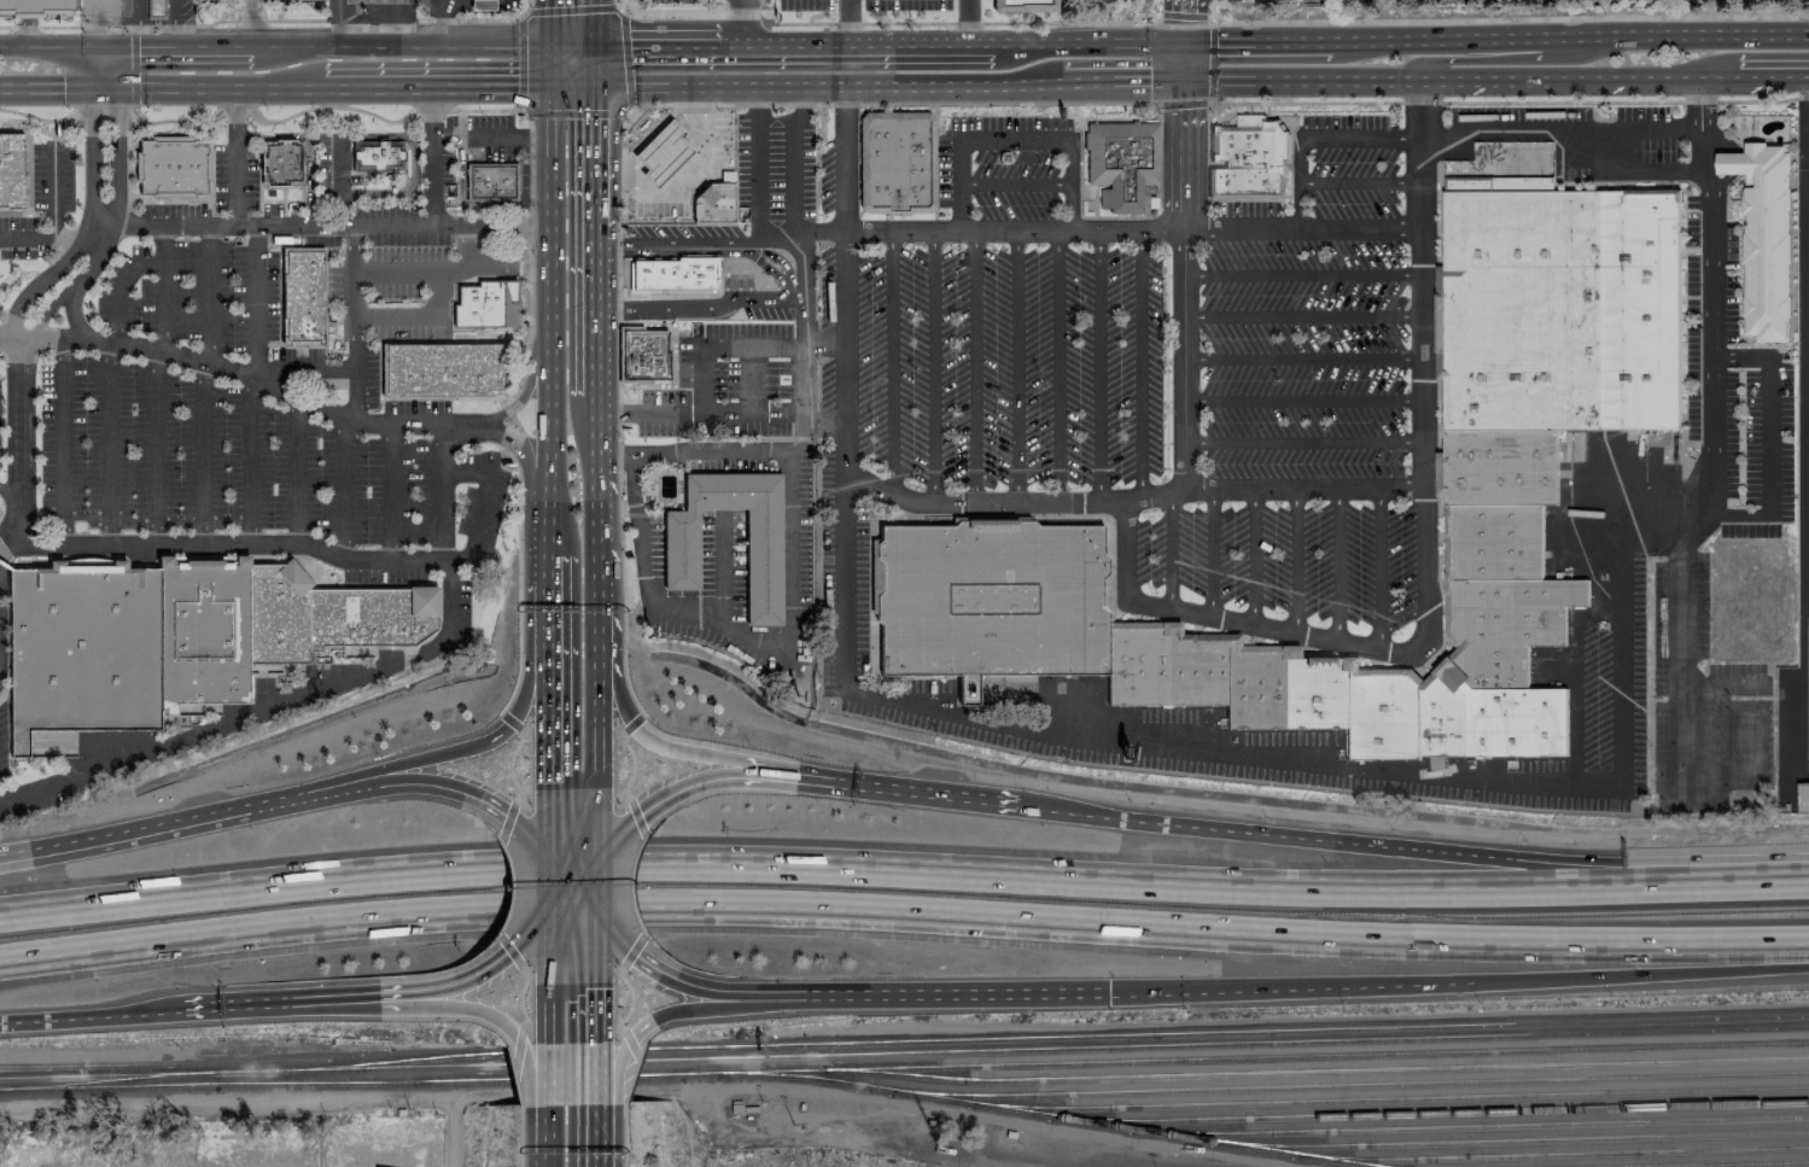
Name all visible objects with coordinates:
building: (36, 4)
parking lot: (804, 4)
parking lot: (906, 4)
building: (482, 5)
building: (1022, 5)
building: (154, 6)
road: (332, 7)
road: (27, 10)
road: (360, 14)
road: (622, 16)
road: (1183, 16)
road: (1501, 18)
road: (479, 19)
road: (1184, 22)
road: (139, 23)
road: (173, 23)
road: (244, 23)
road: (447, 23)
road: (552, 23)
road: (847, 23)
road: (877, 23)
road: (967, 23)
road: (589, 24)
road: (742, 24)
road: (1172, 24)
road: (1197, 24)
road: (162, 27)
road: (398, 31)
road: (28, 33)
road: (1639, 35)
road: (1400, 39)
road: (1256, 41)
road: (1089, 43)
road: (53, 46)
road: (869, 46)
road: (180, 47)
road: (402, 47)
traffic signals: (552, 47)
road: (571, 48)
road: (667, 48)
traffic signals: (591, 49)
road: (1476, 58)
road: (552, 64)
road: (1212, 64)
road: (593, 65)
road: (133, 70)
road: (1773, 75)
road: (1677, 76)
road: (1546, 77)
road: (1327, 80)
road: (1109, 81)
road: (430, 82)
traffic signals: (552, 82)
road: (572, 82)
traffic signals: (594, 82)
road: (718, 83)
road: (941, 83)
road: (153, 87)
road: (1318, 101)
road: (1733, 101)
road: (894, 103)
road: (993, 103)
road: (746, 104)
road: (331, 105)
road: (1181, 105)
road: (233, 110)
road: (428, 110)
road: (484, 110)
road: (103, 113)
road: (36, 117)
road: (1150, 118)
road: (174, 119)
road: (1559, 128)
building: (669, 129)
parking lot: (1595, 132)
road: (116, 136)
road: (1011, 139)
road: (89, 140)
road: (475, 141)
road: (536, 141)
road: (305, 144)
road: (431, 152)
building: (379, 154)
road: (530, 154)
road: (595, 154)
road: (233, 156)
building: (1248, 156)
road: (755, 158)
road: (794, 158)
road: (412, 162)
building: (895, 162)
building: (1121, 162)
road: (1297, 162)
building: (281, 163)
building: (173, 165)
building: (652, 165)
parking lot: (776, 165)
parking lot: (1000, 167)
building: (12, 171)
road: (676, 173)
road: (340, 177)
road: (1013, 180)
building: (491, 183)
road: (1402, 187)
road: (52, 192)
road: (1080, 199)
building: (713, 203)
road: (471, 205)
road: (1804, 208)
road: (1437, 211)
road: (526, 218)
road: (323, 222)
road: (1162, 227)
parking lot: (684, 228)
road: (1105, 228)
road: (776, 232)
road: (75, 234)
road: (27, 235)
building: (1763, 238)
road: (676, 240)
road: (734, 251)
road: (795, 262)
road: (428, 266)
road: (1181, 266)
building: (675, 268)
road: (1301, 272)
road: (496, 276)
road: (39, 282)
road: (124, 286)
road: (69, 288)
parking lot: (196, 291)
road: (208, 292)
building: (300, 294)
road: (1410, 296)
road: (1706, 296)
road: (632, 297)
building: (485, 305)
building: (1557, 307)
road: (698, 309)
road: (596, 311)
road: (72, 314)
road: (550, 316)
road: (1300, 316)
parking lot: (1302, 317)
road: (350, 320)
road: (530, 323)
road: (800, 337)
road: (717, 344)
road: (1404, 350)
building: (644, 355)
road: (1301, 358)
road: (1166, 360)
road: (893, 362)
road: (1138, 362)
road: (1055, 363)
road: (1102, 363)
road: (932, 364)
road: (974, 364)
road: (1015, 364)
building: (442, 368)
road: (379, 369)
road: (244, 372)
road: (753, 377)
road: (251, 381)
road: (157, 383)
parking lot: (725, 383)
road: (525, 385)
parking lot: (1734, 386)
parking lot: (974, 390)
road: (372, 397)
road: (442, 397)
road: (1419, 401)
road: (1301, 402)
road: (507, 408)
road: (617, 413)
road: (735, 413)
road: (822, 416)
road: (515, 422)
road: (799, 436)
road: (1768, 437)
road: (59, 440)
road: (103, 440)
road: (513, 440)
road: (517, 442)
road: (1301, 443)
road: (503, 450)
road: (846, 450)
road: (205, 451)
parking lot: (220, 456)
building: (1499, 467)
road: (294, 469)
road: (340, 483)
road: (8, 489)
road: (389, 490)
road: (440, 491)
road: (480, 501)
road: (632, 514)
road: (654, 514)
road: (596, 519)
building: (1496, 541)
road: (10, 548)
road: (1167, 549)
building: (763, 550)
road: (1208, 552)
road: (226, 554)
road: (6, 555)
road: (1250, 555)
road: (361, 556)
road: (1292, 559)
parking lot: (1284, 560)
road: (1340, 562)
road: (714, 566)
road: (1375, 566)
road: (549, 568)
road: (518, 584)
road: (788, 600)
building: (988, 600)
road: (548, 602)
building: (276, 614)
building: (370, 615)
building: (1507, 624)
road: (1300, 630)
building: (202, 634)
road: (1686, 647)
building: (81, 650)
building: (1162, 667)
road: (1725, 685)
parking lot: (1610, 687)
building: (1253, 688)
building: (1311, 690)
road: (548, 705)
parking lot: (1703, 705)
road: (596, 714)
building: (1378, 714)
building: (1509, 717)
building: (1440, 719)
road: (509, 720)
road: (630, 723)
road: (480, 743)
road: (670, 748)
parking lot: (2, 749)
parking lot: (1244, 752)
road: (510, 762)
road: (1283, 762)
road: (632, 763)
road: (743, 777)
road: (410, 783)
road: (45, 786)
traffic signals: (548, 788)
road: (916, 790)
parking lot: (36, 798)
building: (1803, 798)
road: (634, 816)
road: (170, 818)
road: (509, 818)
traffic signals: (630, 825)
road: (523, 834)
road: (548, 836)
road: (504, 850)
road: (636, 850)
road: (1418, 851)
road: (903, 869)
road: (510, 870)
road: (603, 873)
road: (630, 876)
road: (596, 883)
road: (600, 892)
road: (542, 897)
road: (632, 905)
road: (509, 908)
road: (903, 915)
road: (640, 927)
road: (573, 933)
road: (549, 934)
traffic signals: (514, 945)
road: (509, 951)
road: (630, 951)
road: (1459, 981)
traffic signals: (599, 982)
road: (718, 990)
road: (414, 991)
traffic signals: (1109, 992)
road: (520, 993)
road: (935, 996)
road: (629, 999)
road: (279, 1004)
road: (453, 1005)
road: (691, 1008)
road: (599, 1013)
road: (549, 1014)
road: (92, 1017)
road: (520, 1031)
road: (626, 1033)
railway: (1226, 1033)
railway: (1251, 1041)
road: (635, 1049)
railway: (634, 1050)
road: (515, 1051)
railway: (564, 1051)
railway: (1314, 1055)
railway: (251, 1060)
railway: (393, 1062)
road: (636, 1063)
railway: (489, 1064)
road: (613, 1070)
railway: (247, 1072)
road: (535, 1072)
railway: (1261, 1072)
road: (512, 1073)
road: (600, 1073)
road: (548, 1074)
road: (632, 1074)
railway: (106, 1075)
railway: (631, 1075)
railway: (106, 1081)
railway: (311, 1083)
railway: (1350, 1085)
road: (628, 1089)
road: (518, 1096)
road: (351, 1098)
railway: (1390, 1099)
road: (623, 1101)
railway: (1014, 1108)
railway: (1430, 1113)
road: (1010, 1120)
railway: (1477, 1126)
road: (453, 1130)
road: (624, 1133)
road: (548, 1134)
road: (600, 1134)
railway: (1515, 1140)
railway: (1559, 1154)
building: (221, 1163)
railway: (1712, 1163)

